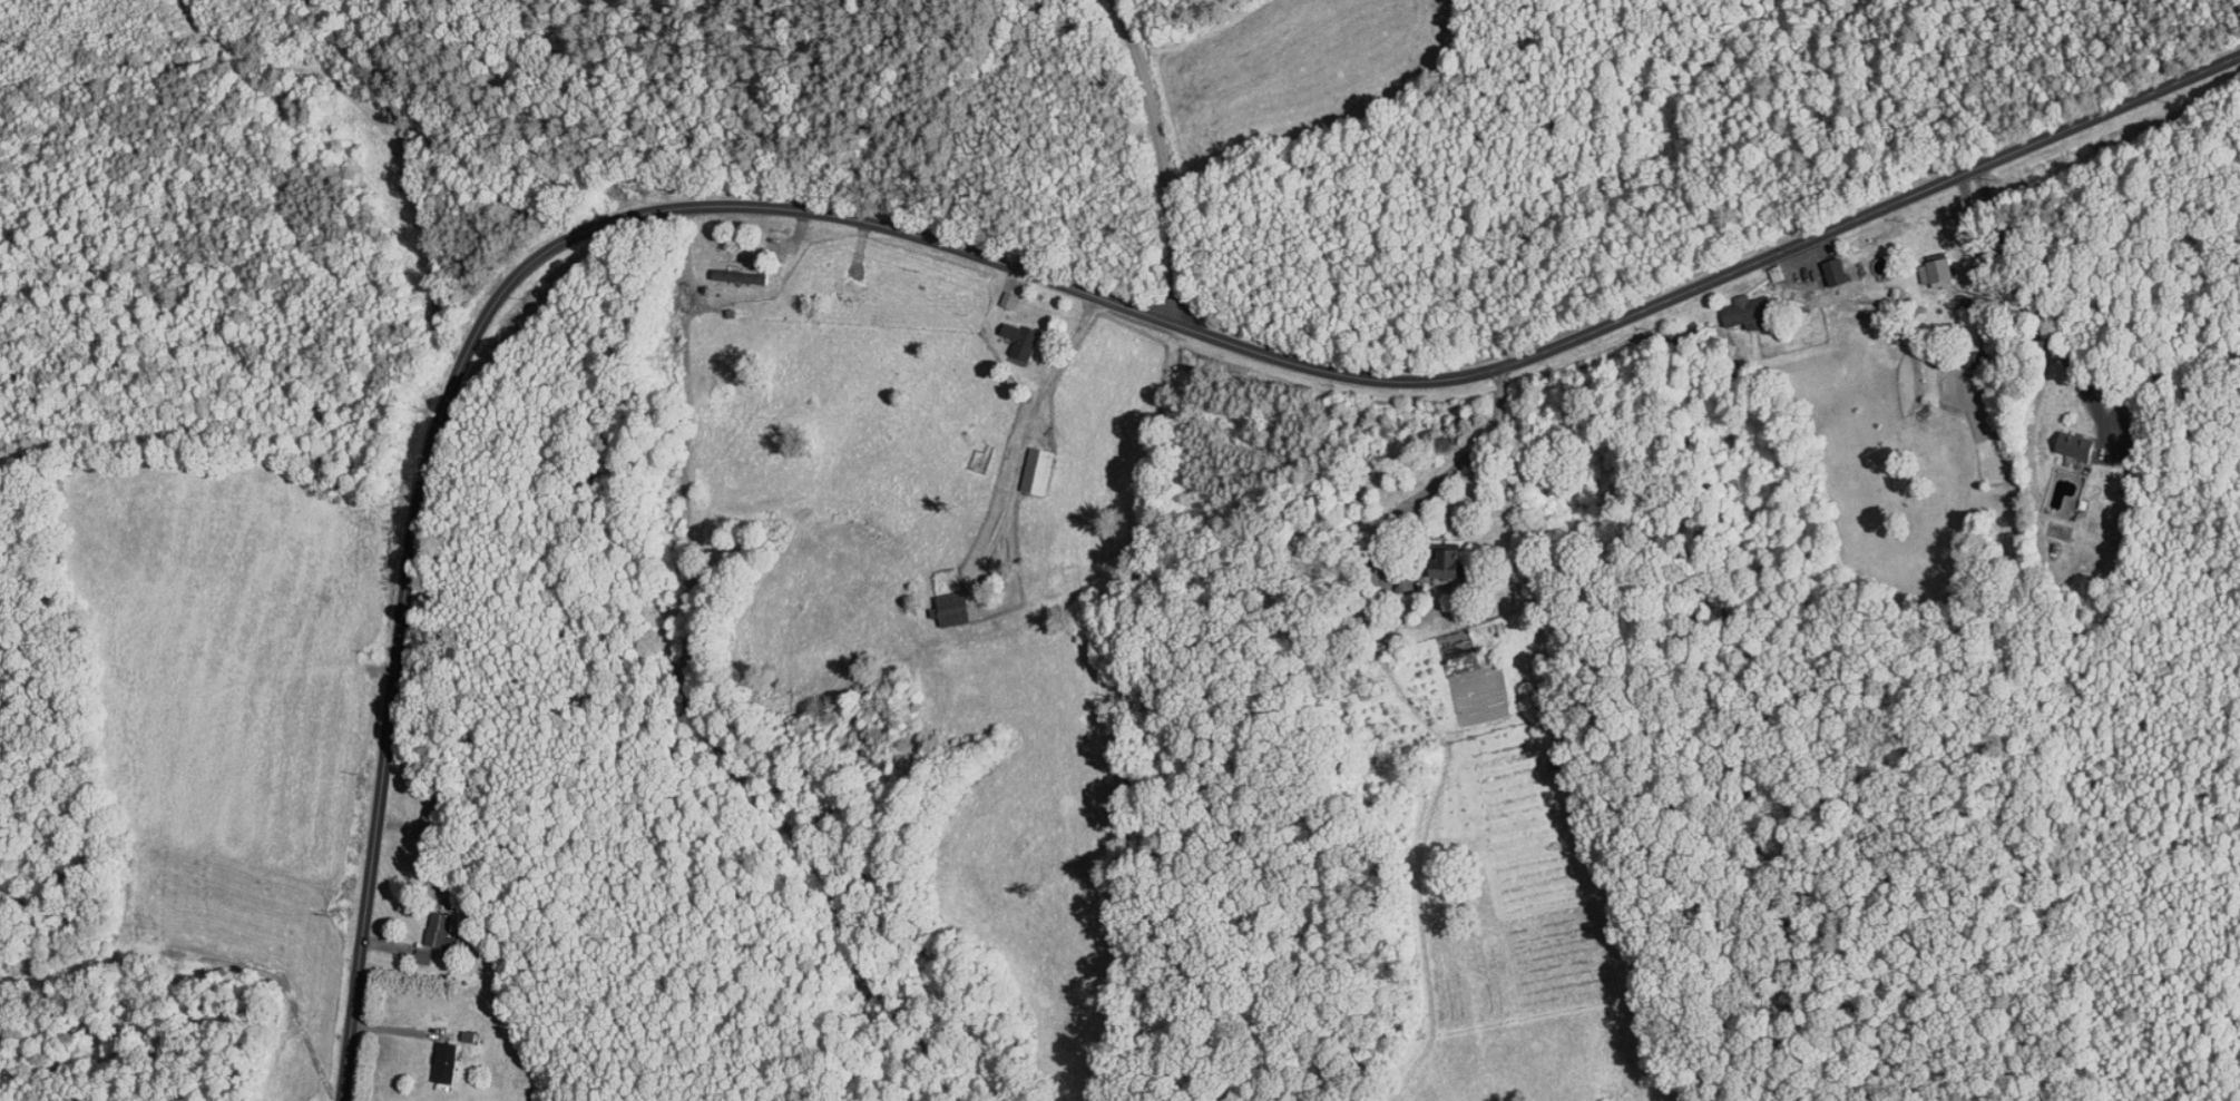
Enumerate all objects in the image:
road: (1162, 158)
road: (977, 252)
building: (1929, 264)
building: (1828, 265)
building: (732, 269)
building: (1000, 293)
road: (2035, 309)
building: (1013, 335)
building: (1029, 464)
road: (1412, 503)
building: (1449, 556)
building: (946, 602)
building: (432, 924)
building: (437, 1054)

